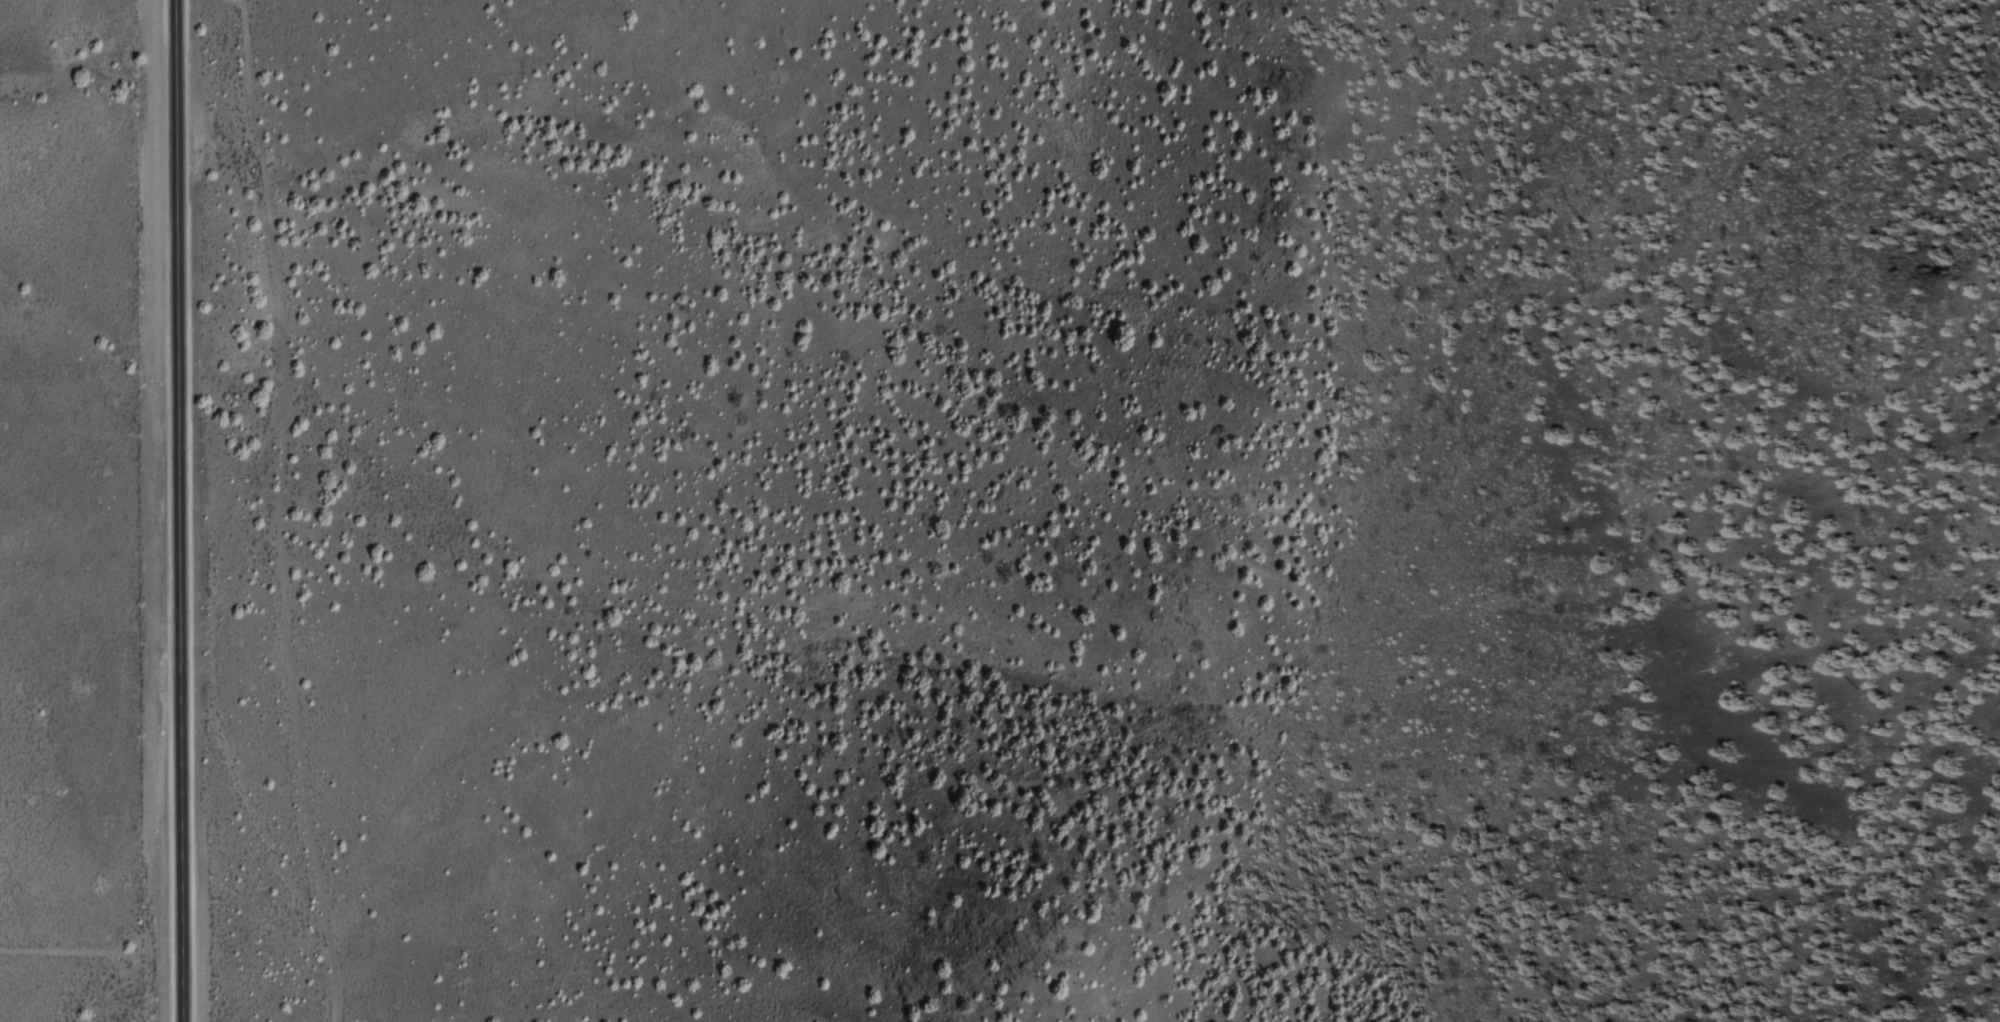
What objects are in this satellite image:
road: (176, 511)

